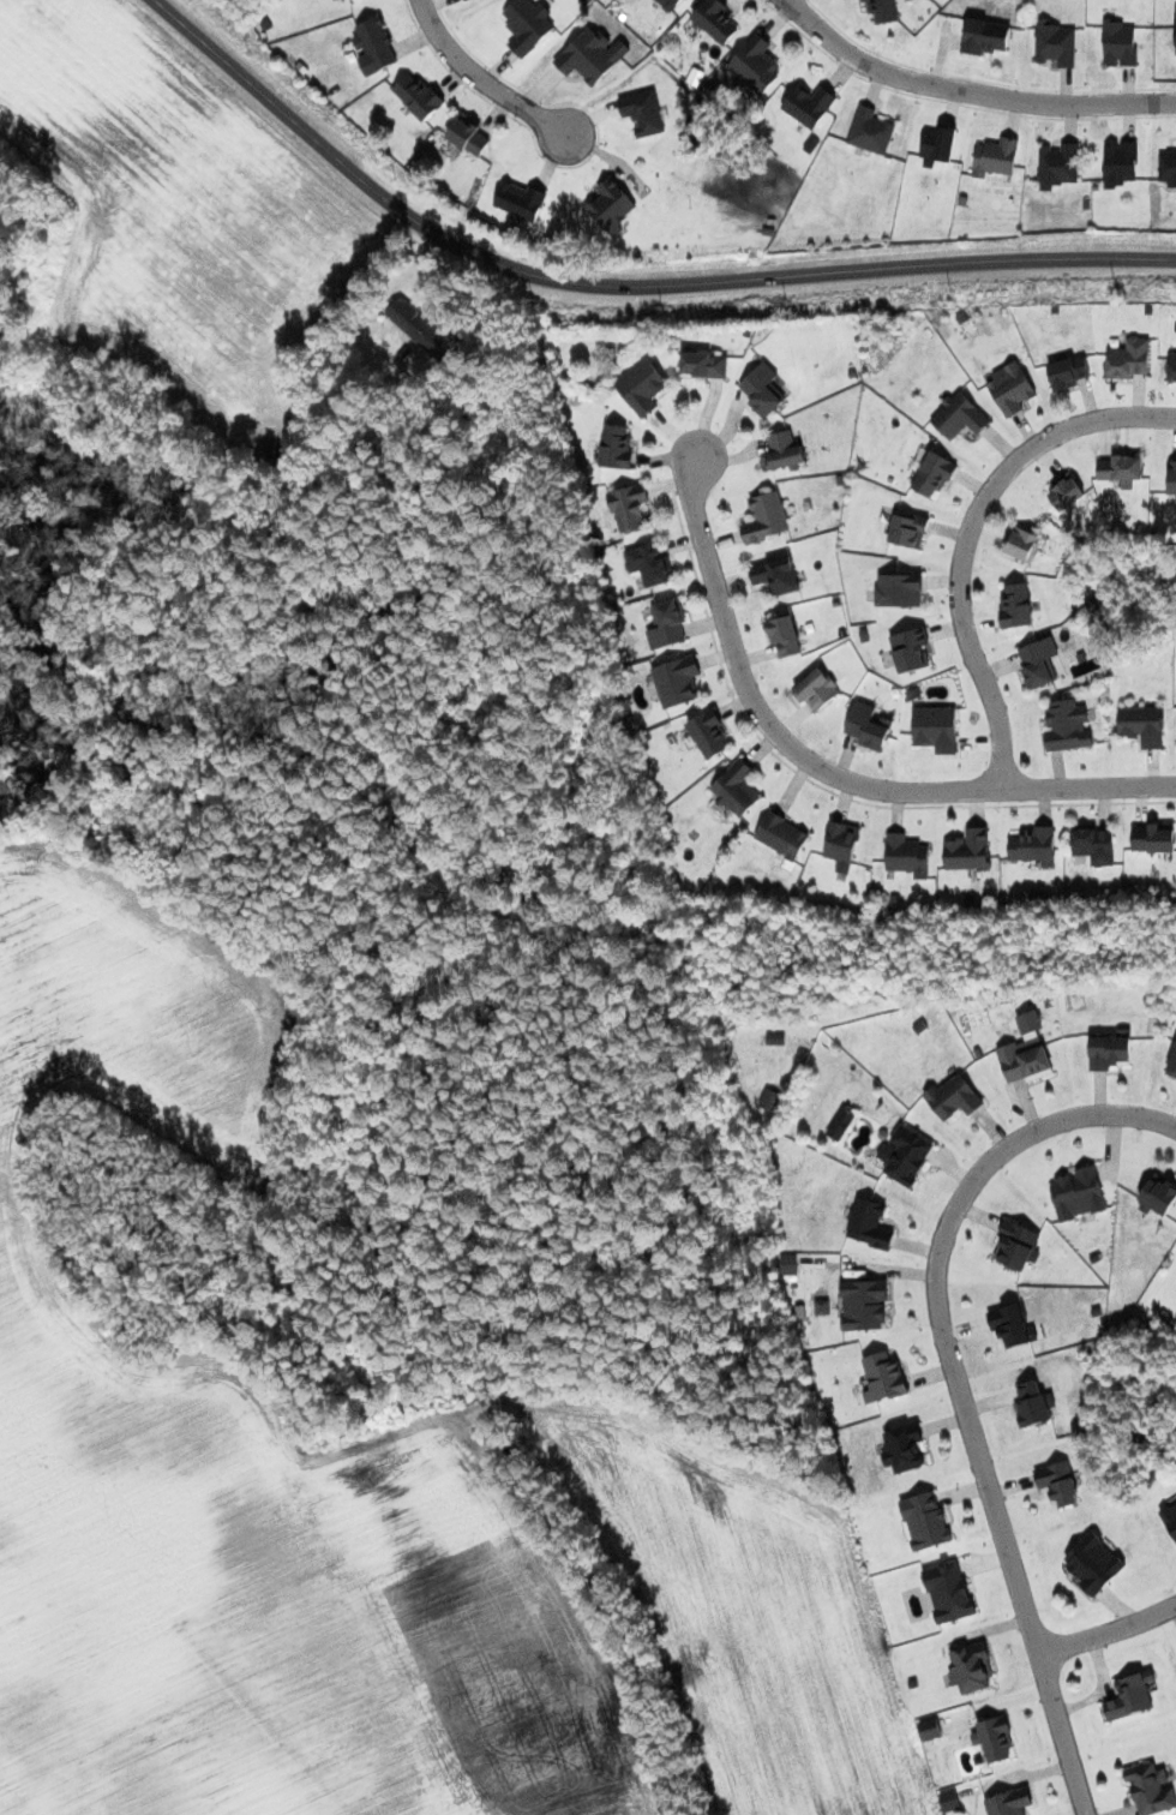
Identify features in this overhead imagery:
building: (466, 0)
building: (667, 4)
building: (881, 10)
building: (715, 19)
building: (526, 24)
building: (1175, 30)
building: (984, 36)
building: (1055, 43)
building: (1118, 43)
building: (374, 46)
building: (590, 55)
building: (755, 62)
road: (476, 79)
road: (965, 94)
building: (416, 96)
building: (808, 104)
building: (642, 112)
building: (870, 131)
building: (467, 134)
building: (937, 143)
building: (995, 156)
building: (1118, 162)
building: (1057, 164)
building: (1166, 167)
building: (518, 199)
building: (611, 204)
road: (619, 283)
building: (420, 328)
building: (1128, 358)
building: (703, 364)
building: (1171, 365)
building: (1067, 371)
building: (641, 385)
building: (1010, 389)
building: (762, 390)
building: (959, 415)
building: (616, 447)
building: (784, 450)
building: (1121, 468)
building: (932, 473)
building: (1171, 477)
building: (1064, 492)
building: (628, 507)
building: (766, 516)
building: (907, 529)
road: (962, 533)
building: (1021, 544)
building: (649, 563)
building: (775, 574)
building: (898, 588)
building: (1015, 605)
building: (666, 623)
building: (782, 634)
building: (910, 649)
building: (1038, 663)
building: (676, 681)
building: (816, 689)
building: (868, 725)
building: (1142, 725)
building: (1066, 726)
building: (935, 727)
building: (708, 733)
road: (823, 771)
building: (736, 787)
building: (781, 835)
building: (1152, 837)
building: (1092, 844)
building: (841, 845)
building: (1032, 845)
building: (967, 849)
building: (906, 855)
building: (1110, 1050)
building: (1025, 1052)
building: (1172, 1058)
building: (953, 1097)
building: (769, 1100)
building: (840, 1124)
building: (905, 1155)
building: (1078, 1193)
building: (1158, 1193)
building: (869, 1223)
building: (1016, 1244)
building: (788, 1264)
building: (863, 1304)
building: (1012, 1325)
building: (882, 1377)
road: (956, 1385)
building: (1033, 1403)
building: (902, 1448)
building: (1057, 1482)
building: (1170, 1519)
building: (924, 1520)
building: (1093, 1563)
building: (948, 1592)
road: (1108, 1627)
building: (970, 1666)
building: (1130, 1695)
building: (929, 1729)
building: (995, 1738)
building: (1150, 1789)
building: (948, 1799)
building: (1008, 1802)

